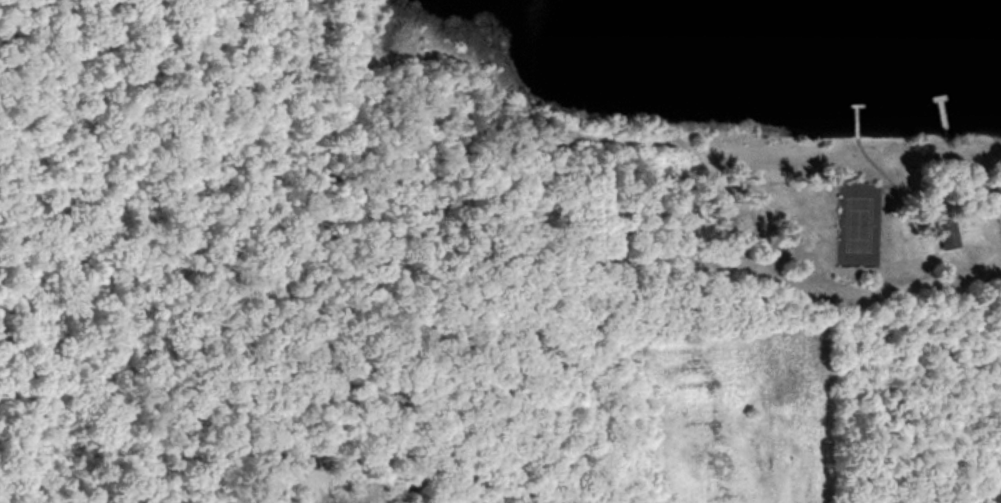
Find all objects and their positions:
building: (941, 236)

